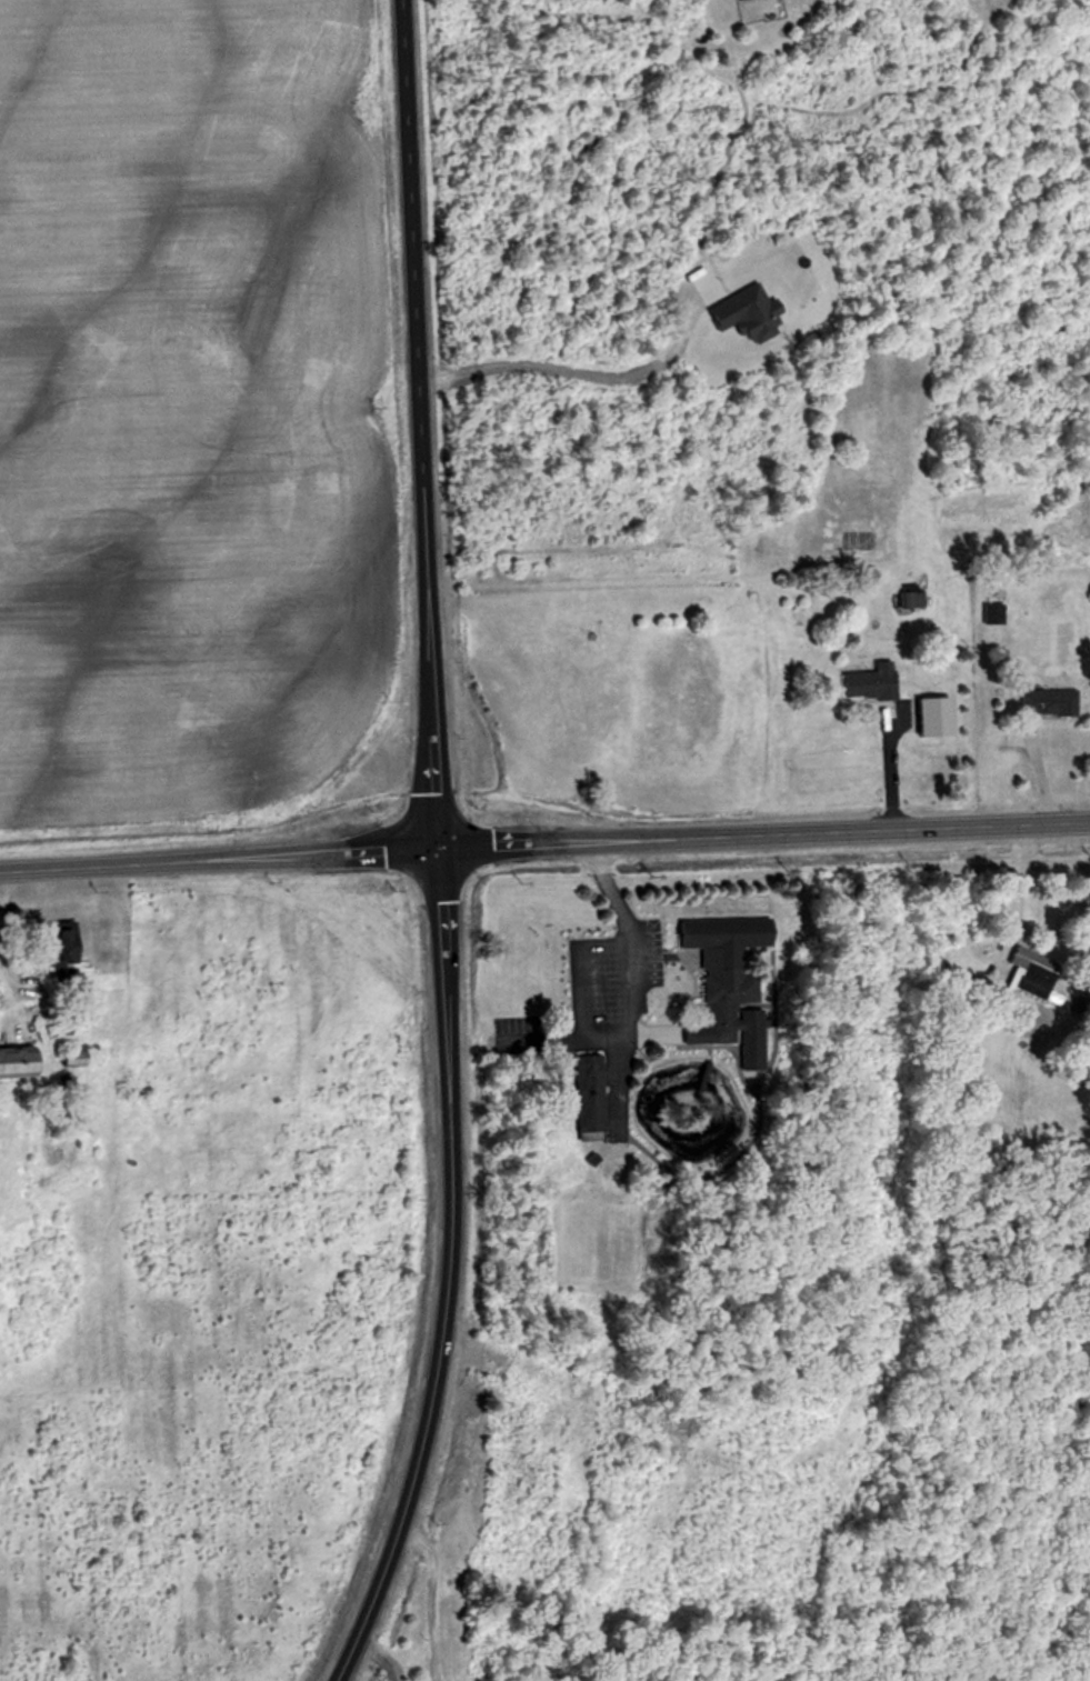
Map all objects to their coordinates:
road: (584, 364)
building: (910, 601)
building: (991, 614)
building: (867, 682)
building: (1047, 702)
road: (881, 763)
road: (544, 842)
road: (436, 850)
building: (57, 944)
building: (1027, 971)
building: (726, 993)
parking lot: (609, 1004)
road: (628, 1019)
building: (16, 1062)
building: (587, 1100)
road: (434, 1593)
road: (376, 1653)

